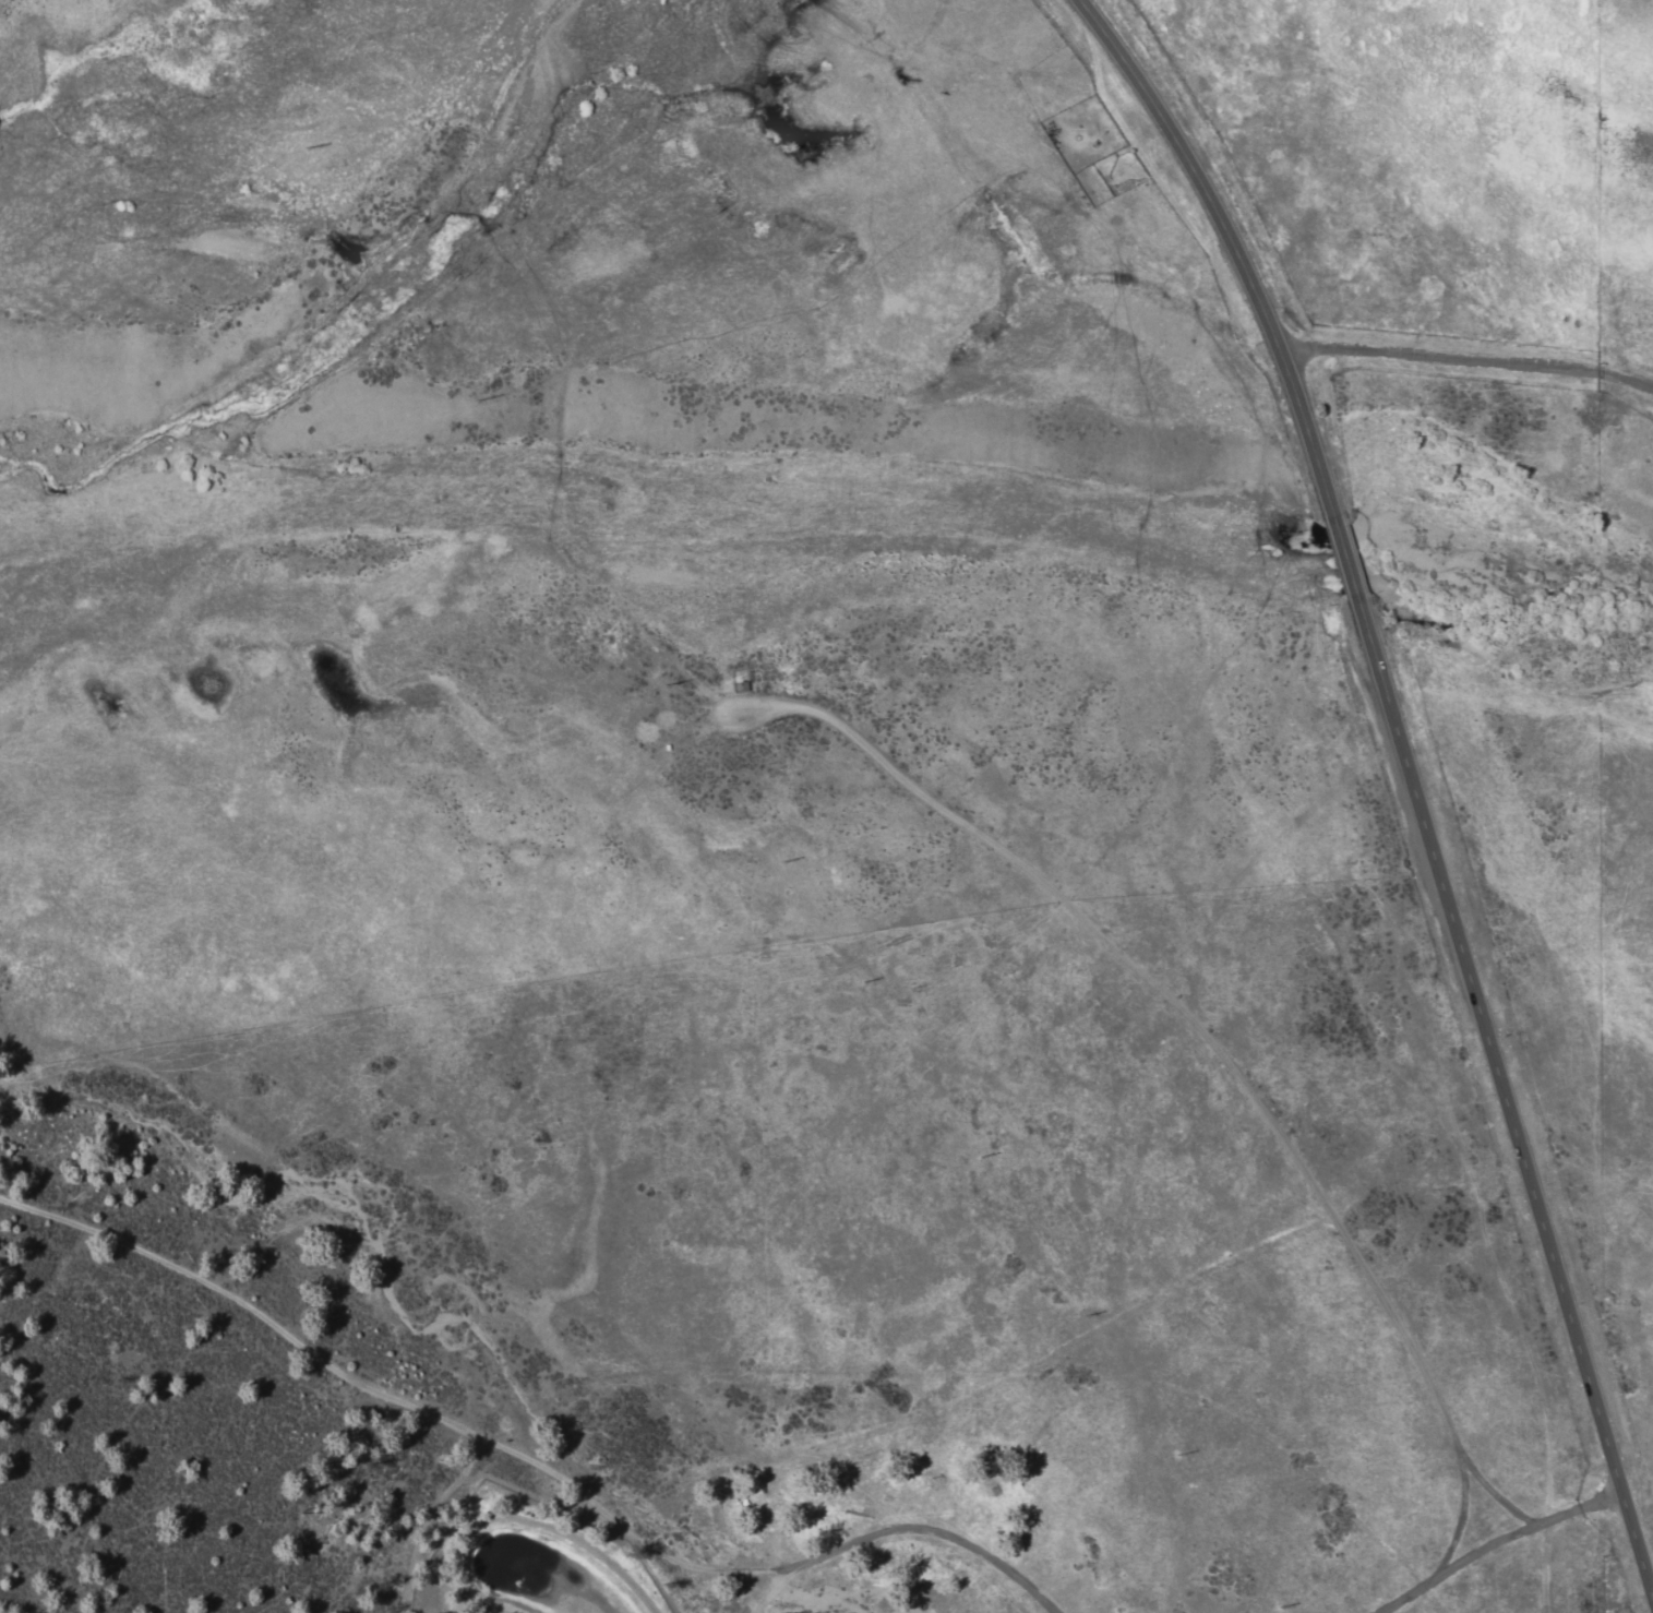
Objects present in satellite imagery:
road: (1233, 246)
road: (1469, 367)
river: (834, 459)
road: (1345, 560)
river: (1572, 608)
road: (1505, 1099)
road: (529, 1456)
road: (1493, 1541)
wastewater plant: (544, 1568)

